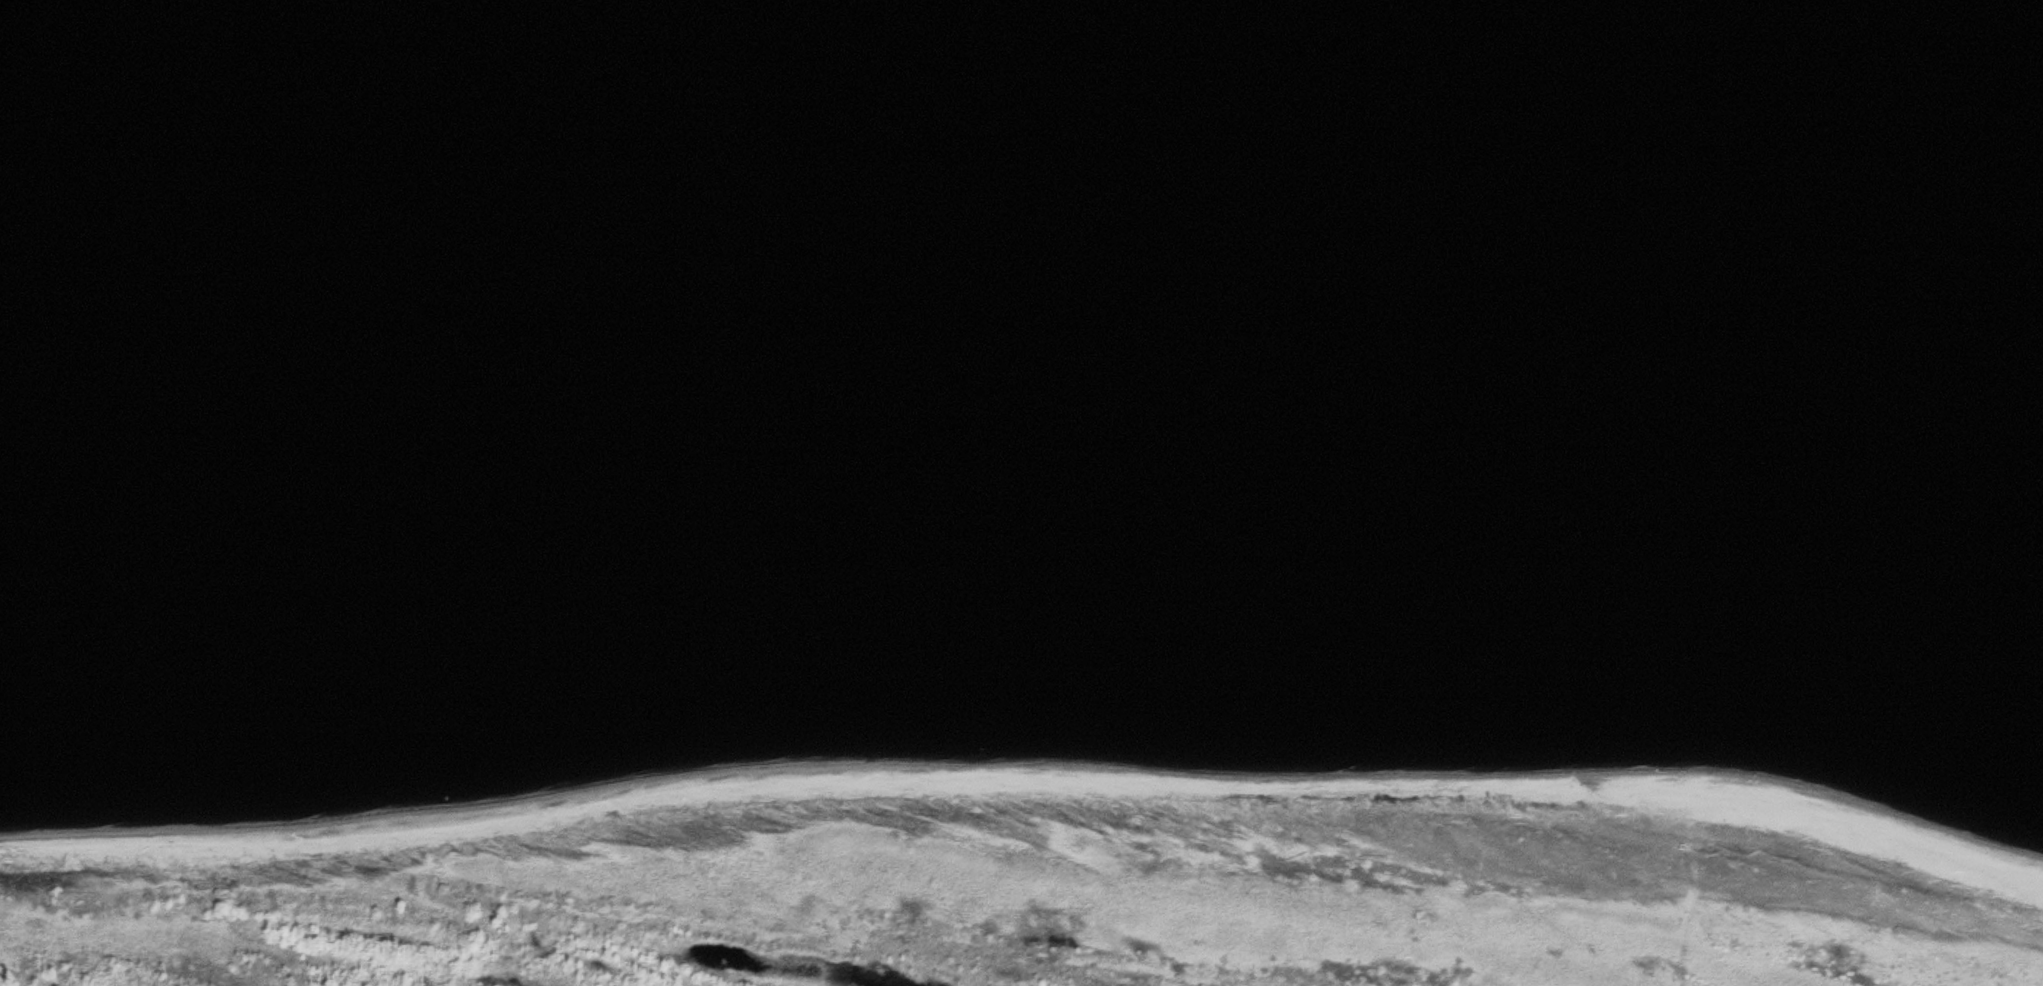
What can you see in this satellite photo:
road: (1683, 938)

